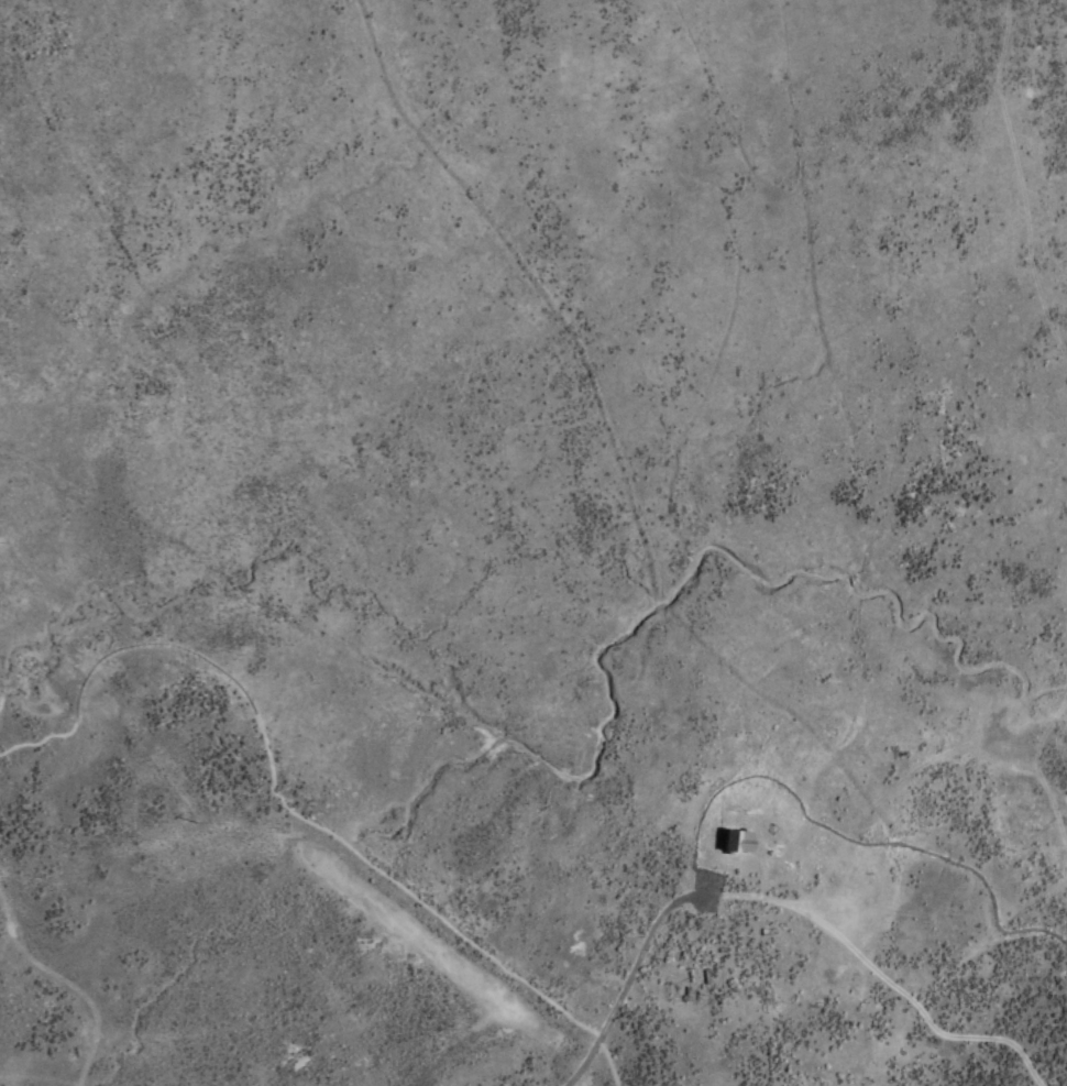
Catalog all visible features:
crop: (533, 542)
building: (734, 841)
road: (652, 924)

